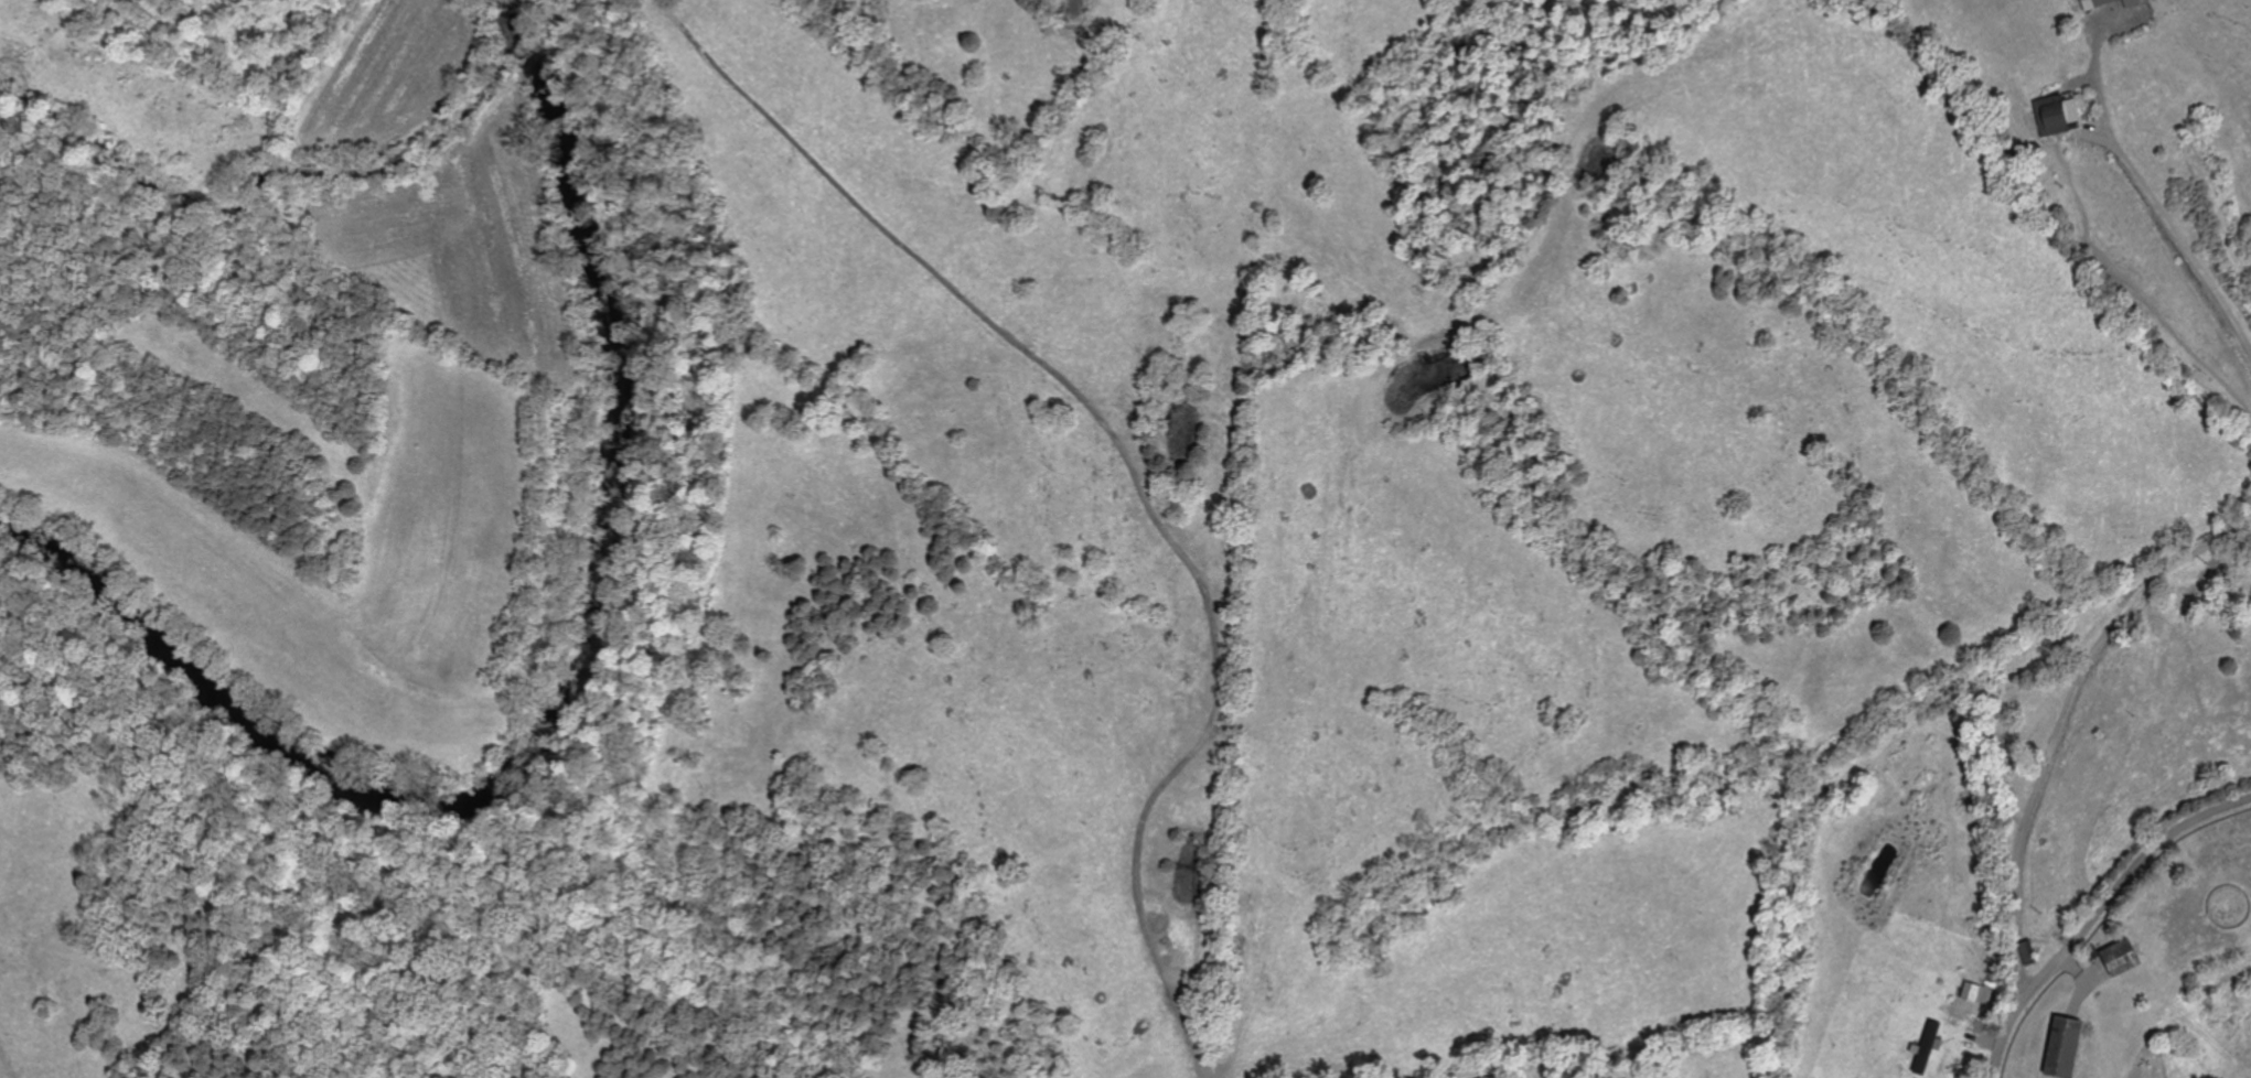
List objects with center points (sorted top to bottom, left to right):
building: (2110, 3)
building: (2059, 116)
road: (2151, 196)
road: (2062, 721)
road: (2097, 915)
building: (2030, 953)
building: (2124, 958)
building: (1972, 992)
building: (2068, 1047)
building: (1927, 1049)

